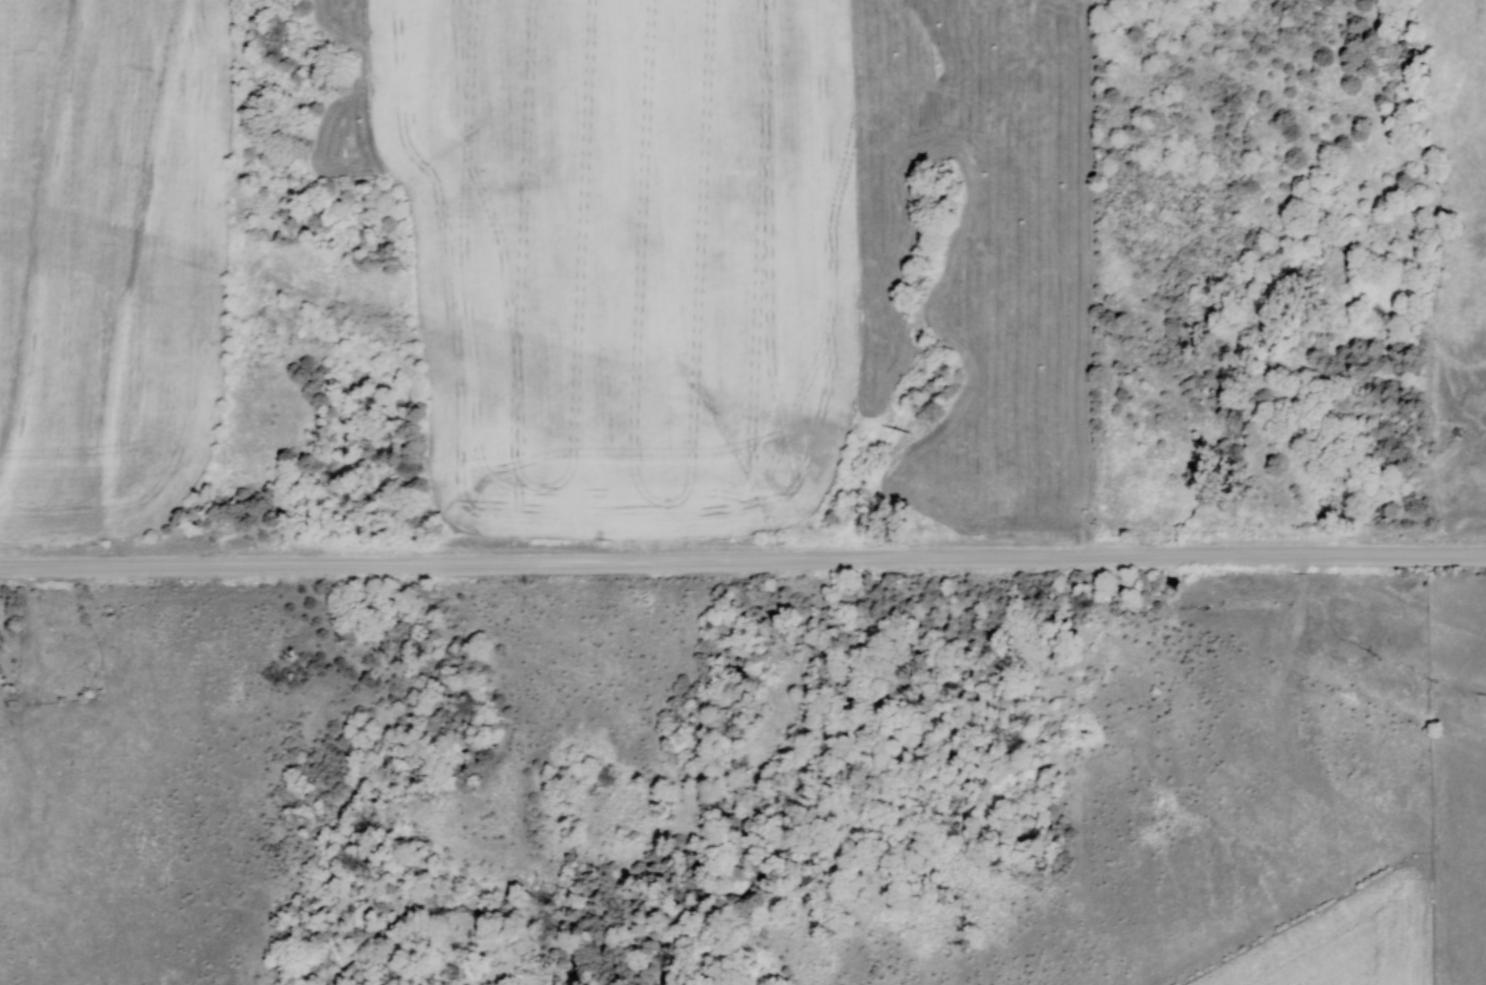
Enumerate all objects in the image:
road: (743, 556)
road: (1284, 725)
crop: (1345, 942)

